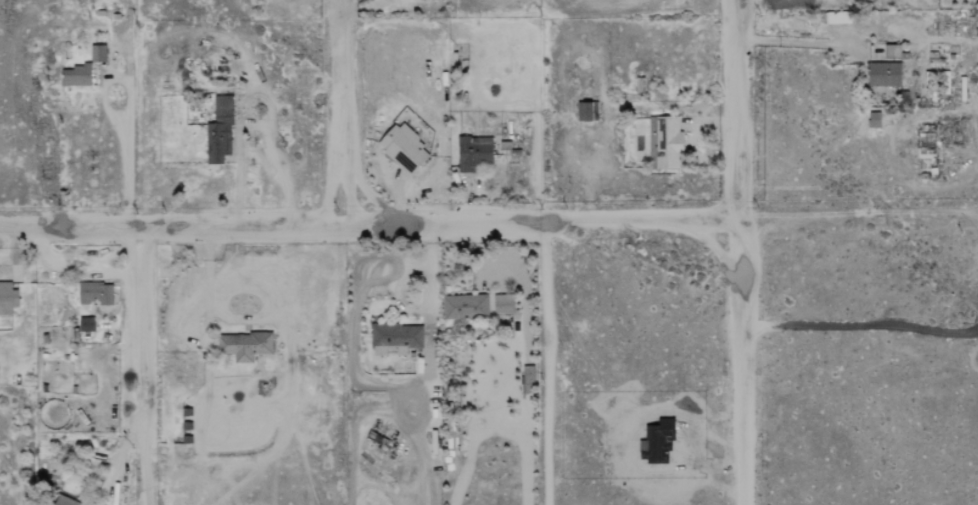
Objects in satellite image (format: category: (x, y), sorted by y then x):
building: (837, 16)
road: (858, 33)
building: (892, 50)
building: (98, 52)
building: (883, 73)
building: (75, 75)
road: (256, 95)
road: (131, 103)
building: (584, 111)
road: (350, 115)
building: (874, 119)
building: (219, 130)
building: (664, 142)
road: (884, 142)
building: (925, 145)
building: (404, 148)
building: (473, 152)
road: (860, 210)
road: (370, 231)
road: (145, 252)
road: (742, 252)
building: (95, 292)
building: (7, 297)
building: (502, 303)
building: (464, 306)
building: (86, 324)
road: (862, 325)
building: (395, 338)
building: (243, 345)
road: (543, 364)
road: (376, 381)
road: (724, 432)

